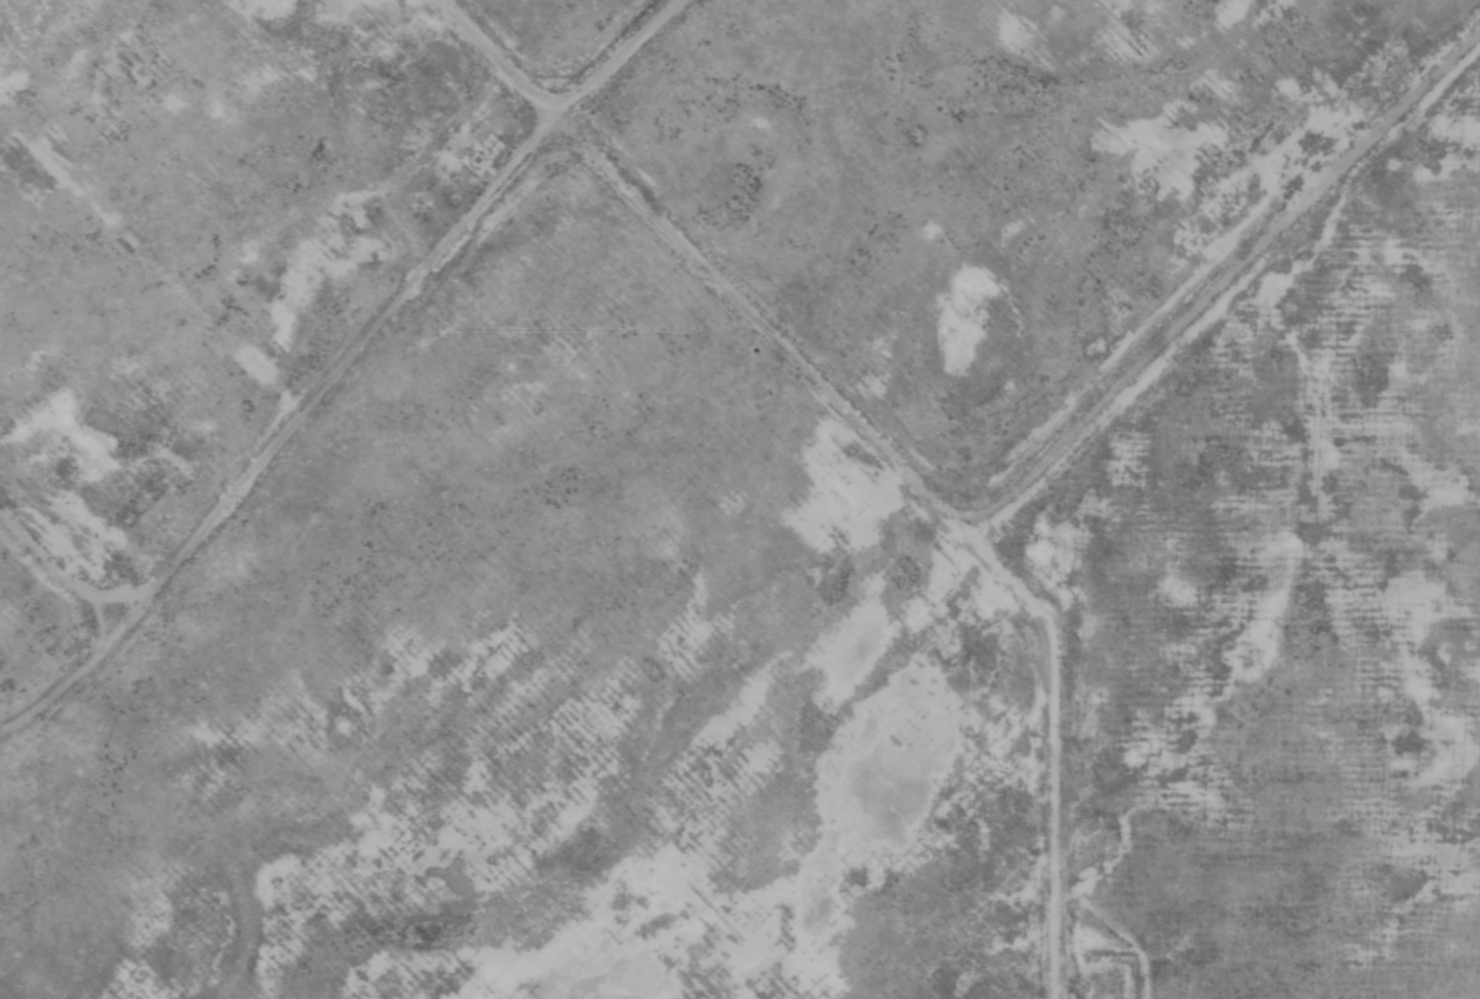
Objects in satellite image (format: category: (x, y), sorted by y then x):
road: (496, 58)
road: (278, 428)
road: (955, 511)
road: (56, 680)

